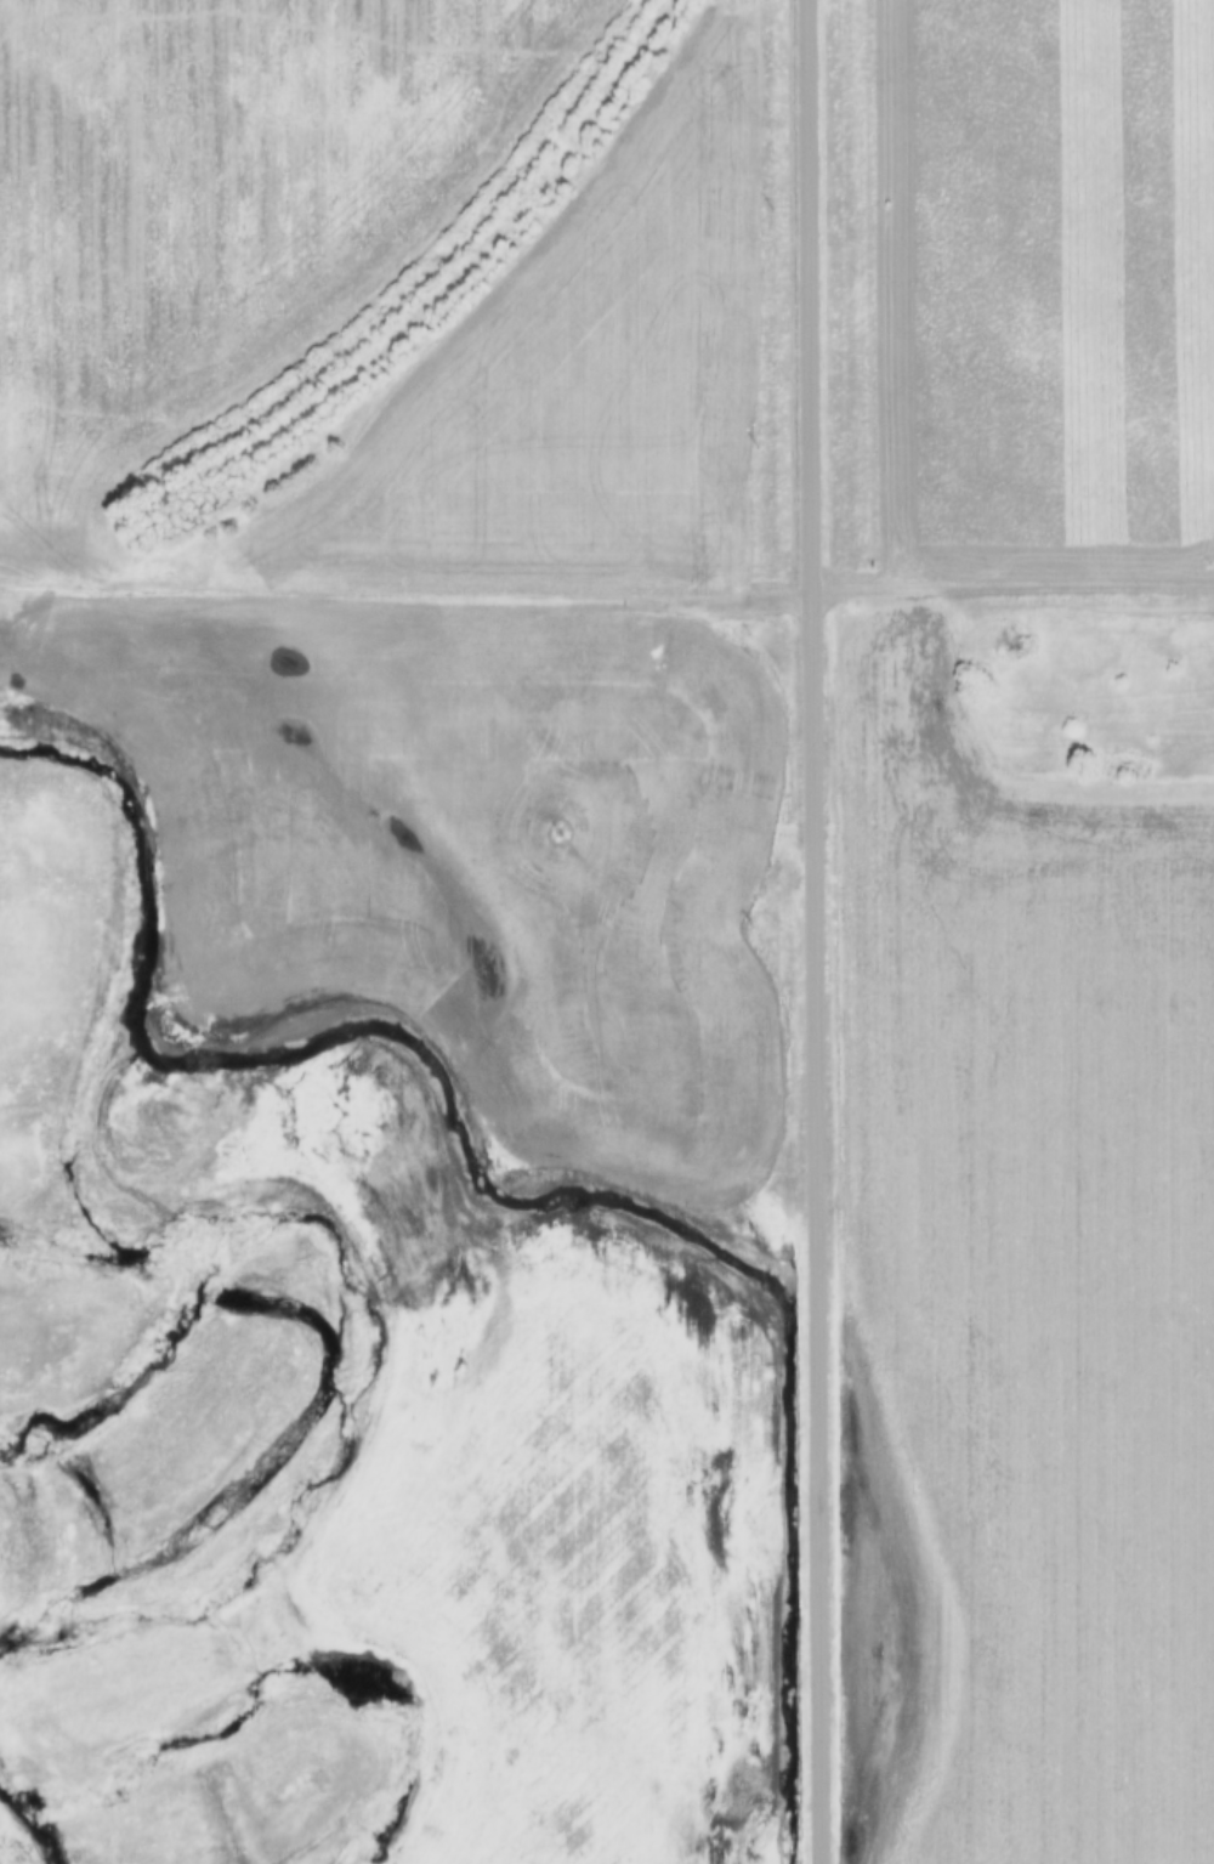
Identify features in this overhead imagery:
road: (409, 590)
road: (1015, 593)
road: (818, 931)

